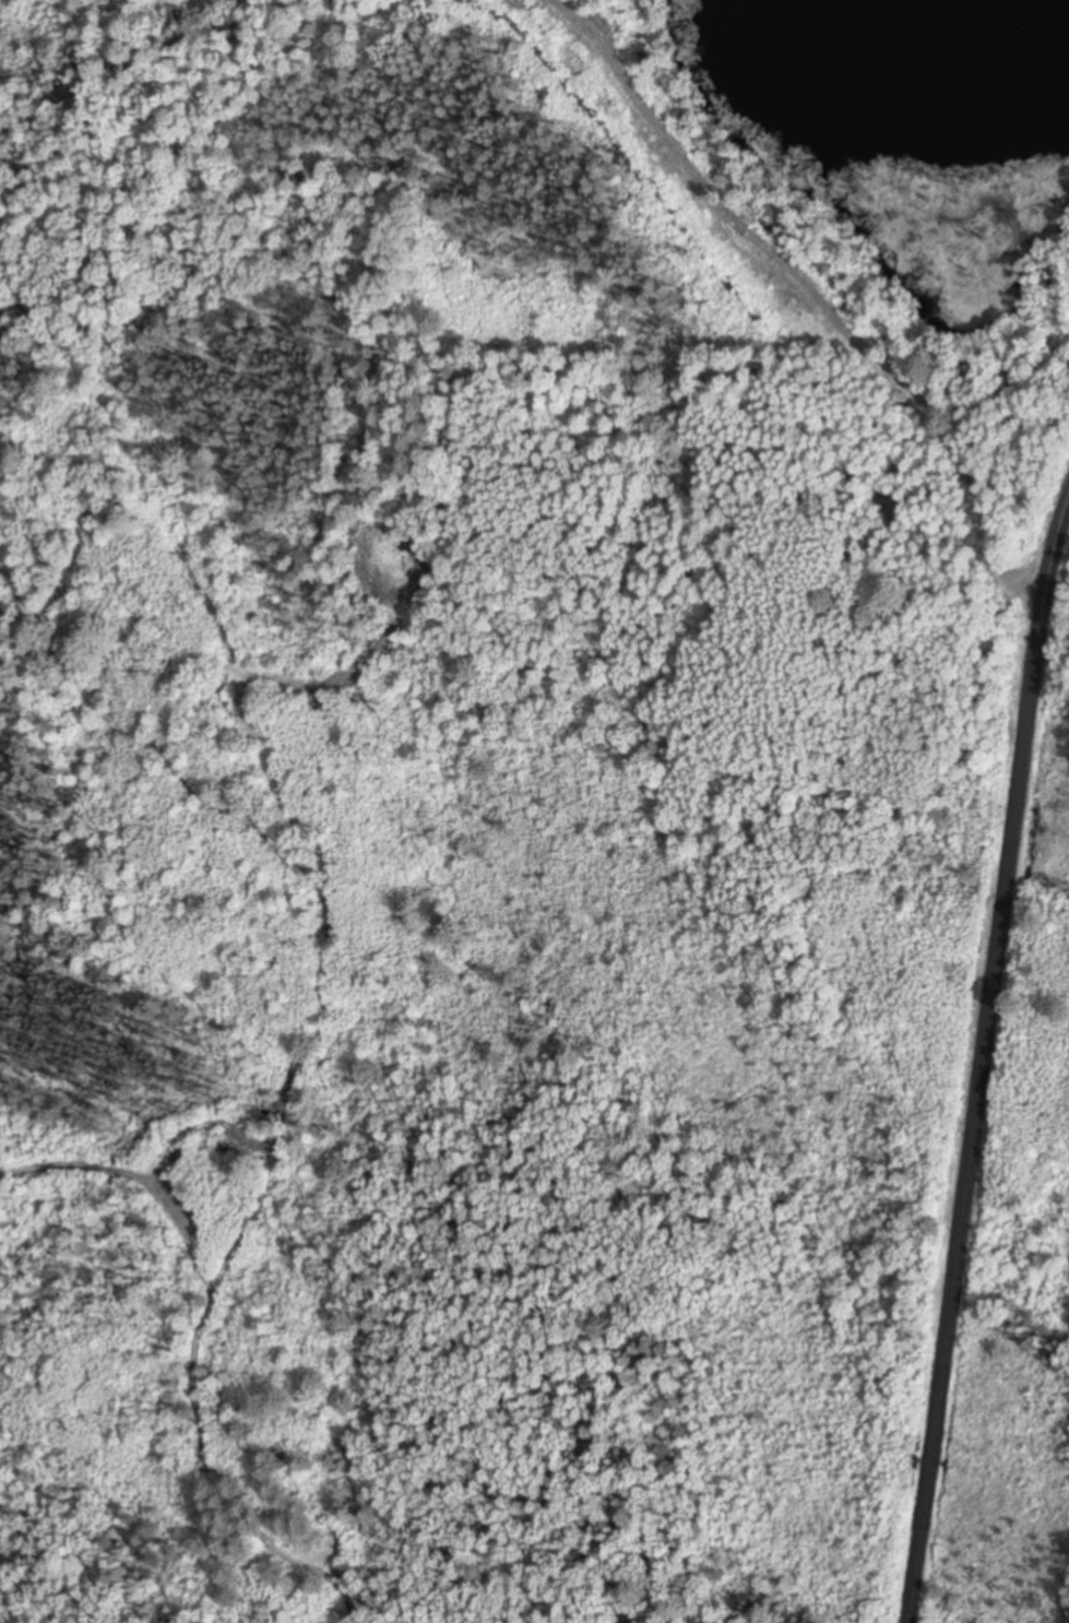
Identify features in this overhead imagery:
road: (979, 1057)

